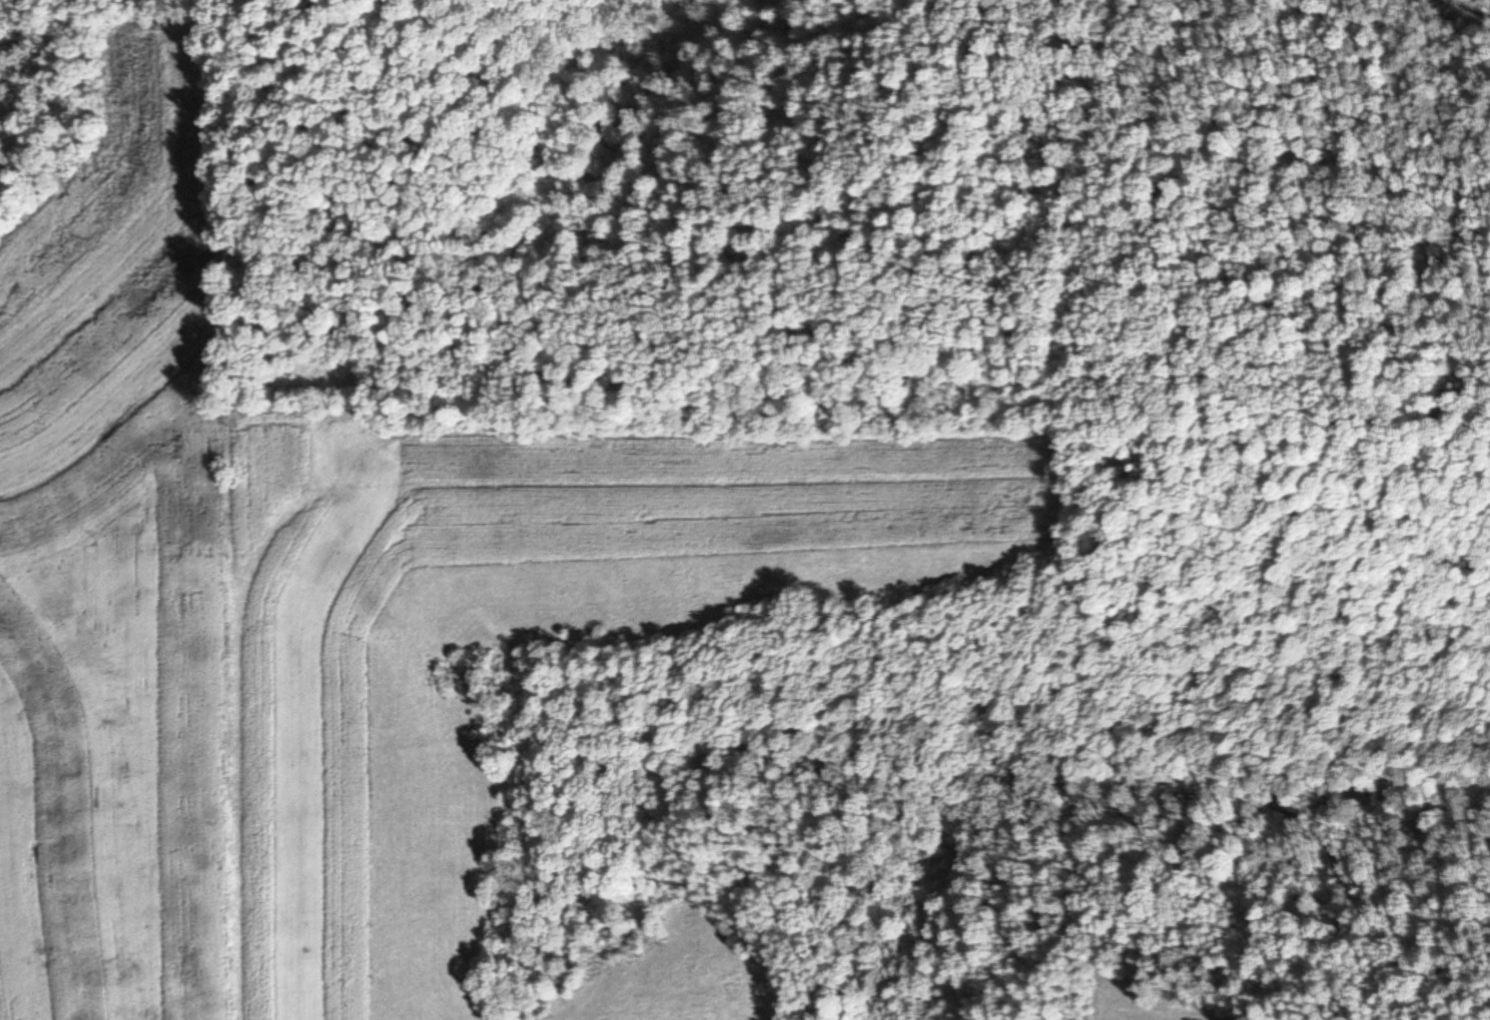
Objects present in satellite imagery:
road: (113, 15)
road: (969, 28)

